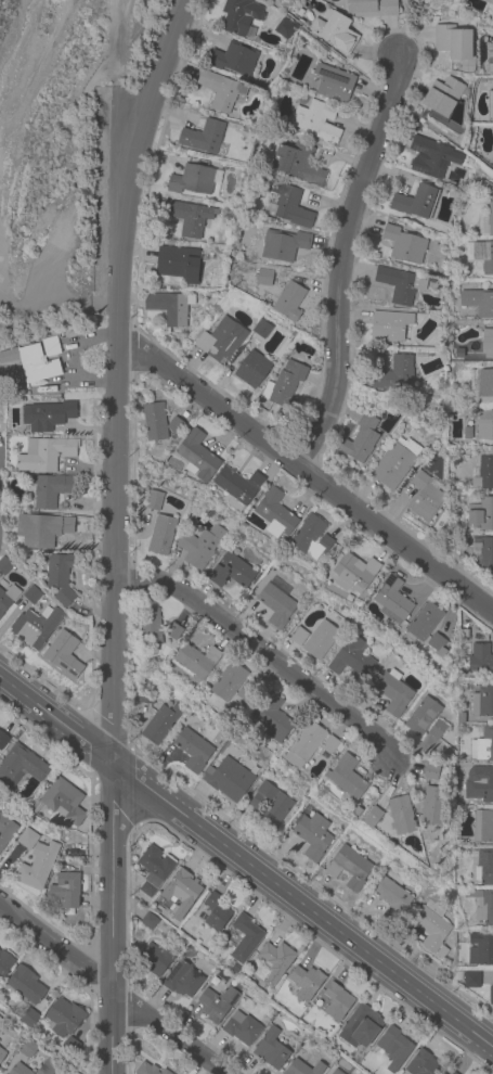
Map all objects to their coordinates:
building: (489, 1)
building: (372, 8)
building: (492, 10)
building: (239, 16)
building: (284, 28)
building: (335, 33)
road: (50, 38)
building: (453, 42)
road: (115, 43)
building: (235, 59)
building: (492, 63)
building: (333, 82)
building: (221, 91)
building: (443, 97)
building: (491, 105)
building: (315, 122)
building: (205, 138)
building: (248, 138)
road: (112, 140)
building: (428, 157)
building: (297, 162)
building: (466, 164)
building: (193, 179)
building: (483, 189)
building: (414, 202)
building: (287, 207)
building: (189, 217)
building: (488, 221)
building: (404, 244)
building: (284, 245)
building: (209, 254)
building: (481, 258)
building: (179, 263)
road: (343, 267)
building: (264, 277)
building: (400, 284)
dam: (3, 294)
building: (289, 301)
building: (478, 302)
road: (56, 306)
building: (171, 308)
building: (388, 327)
building: (261, 329)
building: (67, 334)
building: (221, 341)
building: (488, 341)
building: (51, 345)
building: (31, 363)
building: (251, 369)
building: (394, 374)
building: (481, 383)
building: (285, 385)
building: (47, 415)
building: (154, 422)
building: (176, 425)
building: (490, 431)
building: (361, 439)
building: (46, 455)
building: (197, 456)
building: (393, 462)
building: (483, 473)
road: (304, 475)
building: (237, 484)
building: (52, 490)
building: (424, 497)
building: (154, 501)
building: (275, 514)
building: (481, 515)
building: (243, 525)
building: (47, 529)
road: (114, 530)
building: (161, 536)
building: (311, 538)
building: (200, 546)
building: (484, 552)
building: (43, 561)
building: (4, 565)
building: (231, 572)
building: (350, 575)
building: (61, 577)
building: (31, 596)
building: (8, 599)
building: (393, 600)
building: (276, 606)
building: (424, 622)
building: (67, 624)
building: (36, 627)
building: (150, 628)
building: (172, 631)
building: (298, 637)
building: (321, 640)
building: (436, 644)
road: (265, 654)
building: (63, 655)
building: (352, 659)
building: (480, 661)
building: (195, 662)
building: (229, 682)
building: (245, 692)
building: (393, 692)
building: (146, 696)
building: (482, 701)
building: (421, 717)
building: (460, 718)
building: (273, 719)
building: (160, 725)
building: (437, 730)
building: (3, 741)
building: (304, 745)
building: (330, 745)
building: (482, 745)
building: (193, 751)
building: (22, 765)
building: (431, 771)
building: (445, 777)
building: (346, 778)
building: (228, 779)
building: (480, 785)
building: (63, 802)
building: (270, 805)
building: (433, 805)
building: (36, 807)
building: (356, 811)
building: (401, 815)
building: (372, 817)
building: (483, 827)
building: (5, 830)
building: (430, 832)
building: (313, 836)
building: (27, 840)
building: (69, 853)
road: (246, 862)
building: (38, 866)
building: (483, 866)
building: (349, 868)
building: (154, 870)
building: (68, 891)
building: (181, 893)
building: (391, 898)
building: (483, 907)
building: (216, 912)
building: (148, 922)
building: (430, 925)
building: (245, 938)
building: (480, 948)
building: (206, 949)
building: (442, 952)
building: (155, 959)
building: (275, 960)
building: (4, 963)
building: (235, 968)
building: (457, 976)
building: (470, 980)
building: (182, 981)
building: (306, 983)
building: (25, 984)
road: (113, 987)
building: (491, 994)
building: (329, 1003)
building: (217, 1005)
building: (28, 1018)
building: (64, 1018)
building: (362, 1025)
building: (242, 1028)
building: (395, 1046)
building: (72, 1048)
building: (27, 1049)
building: (271, 1050)
building: (2, 1053)
building: (421, 1064)
building: (49, 1067)
building: (303, 1069)
building: (20, 1070)
building: (148, 1070)
building: (451, 1072)
building: (164, 1073)
building: (336, 1073)

